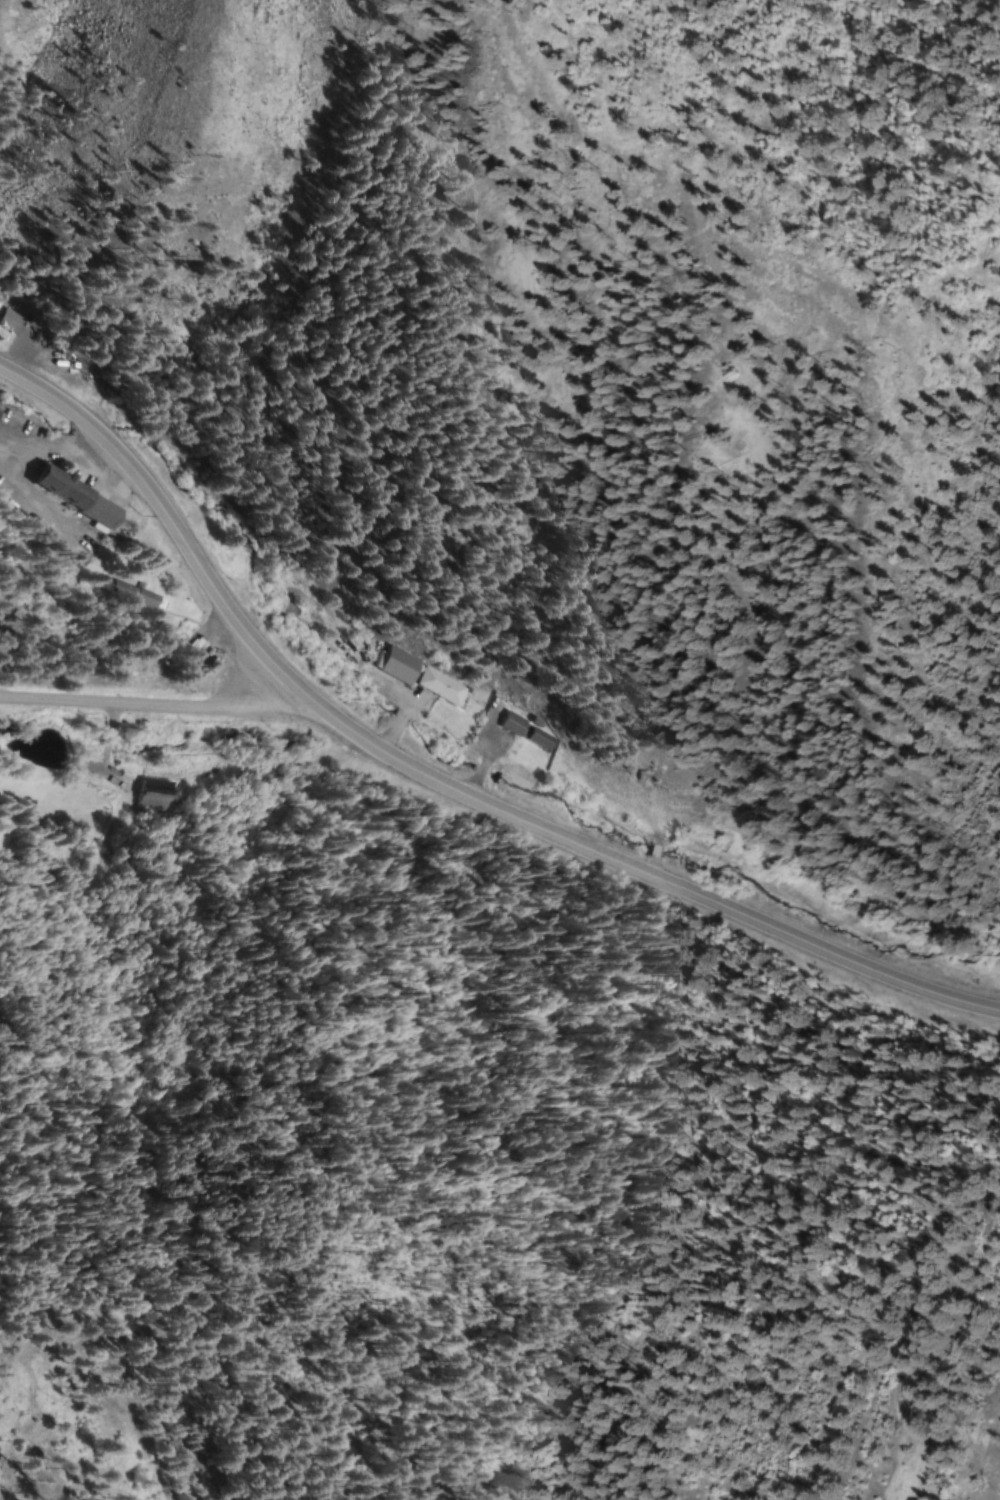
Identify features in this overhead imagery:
building: (81, 497)
building: (137, 594)
building: (197, 650)
building: (404, 666)
road: (146, 704)
building: (518, 732)
road: (433, 782)
building: (154, 794)
building: (676, 807)
building: (996, 907)

